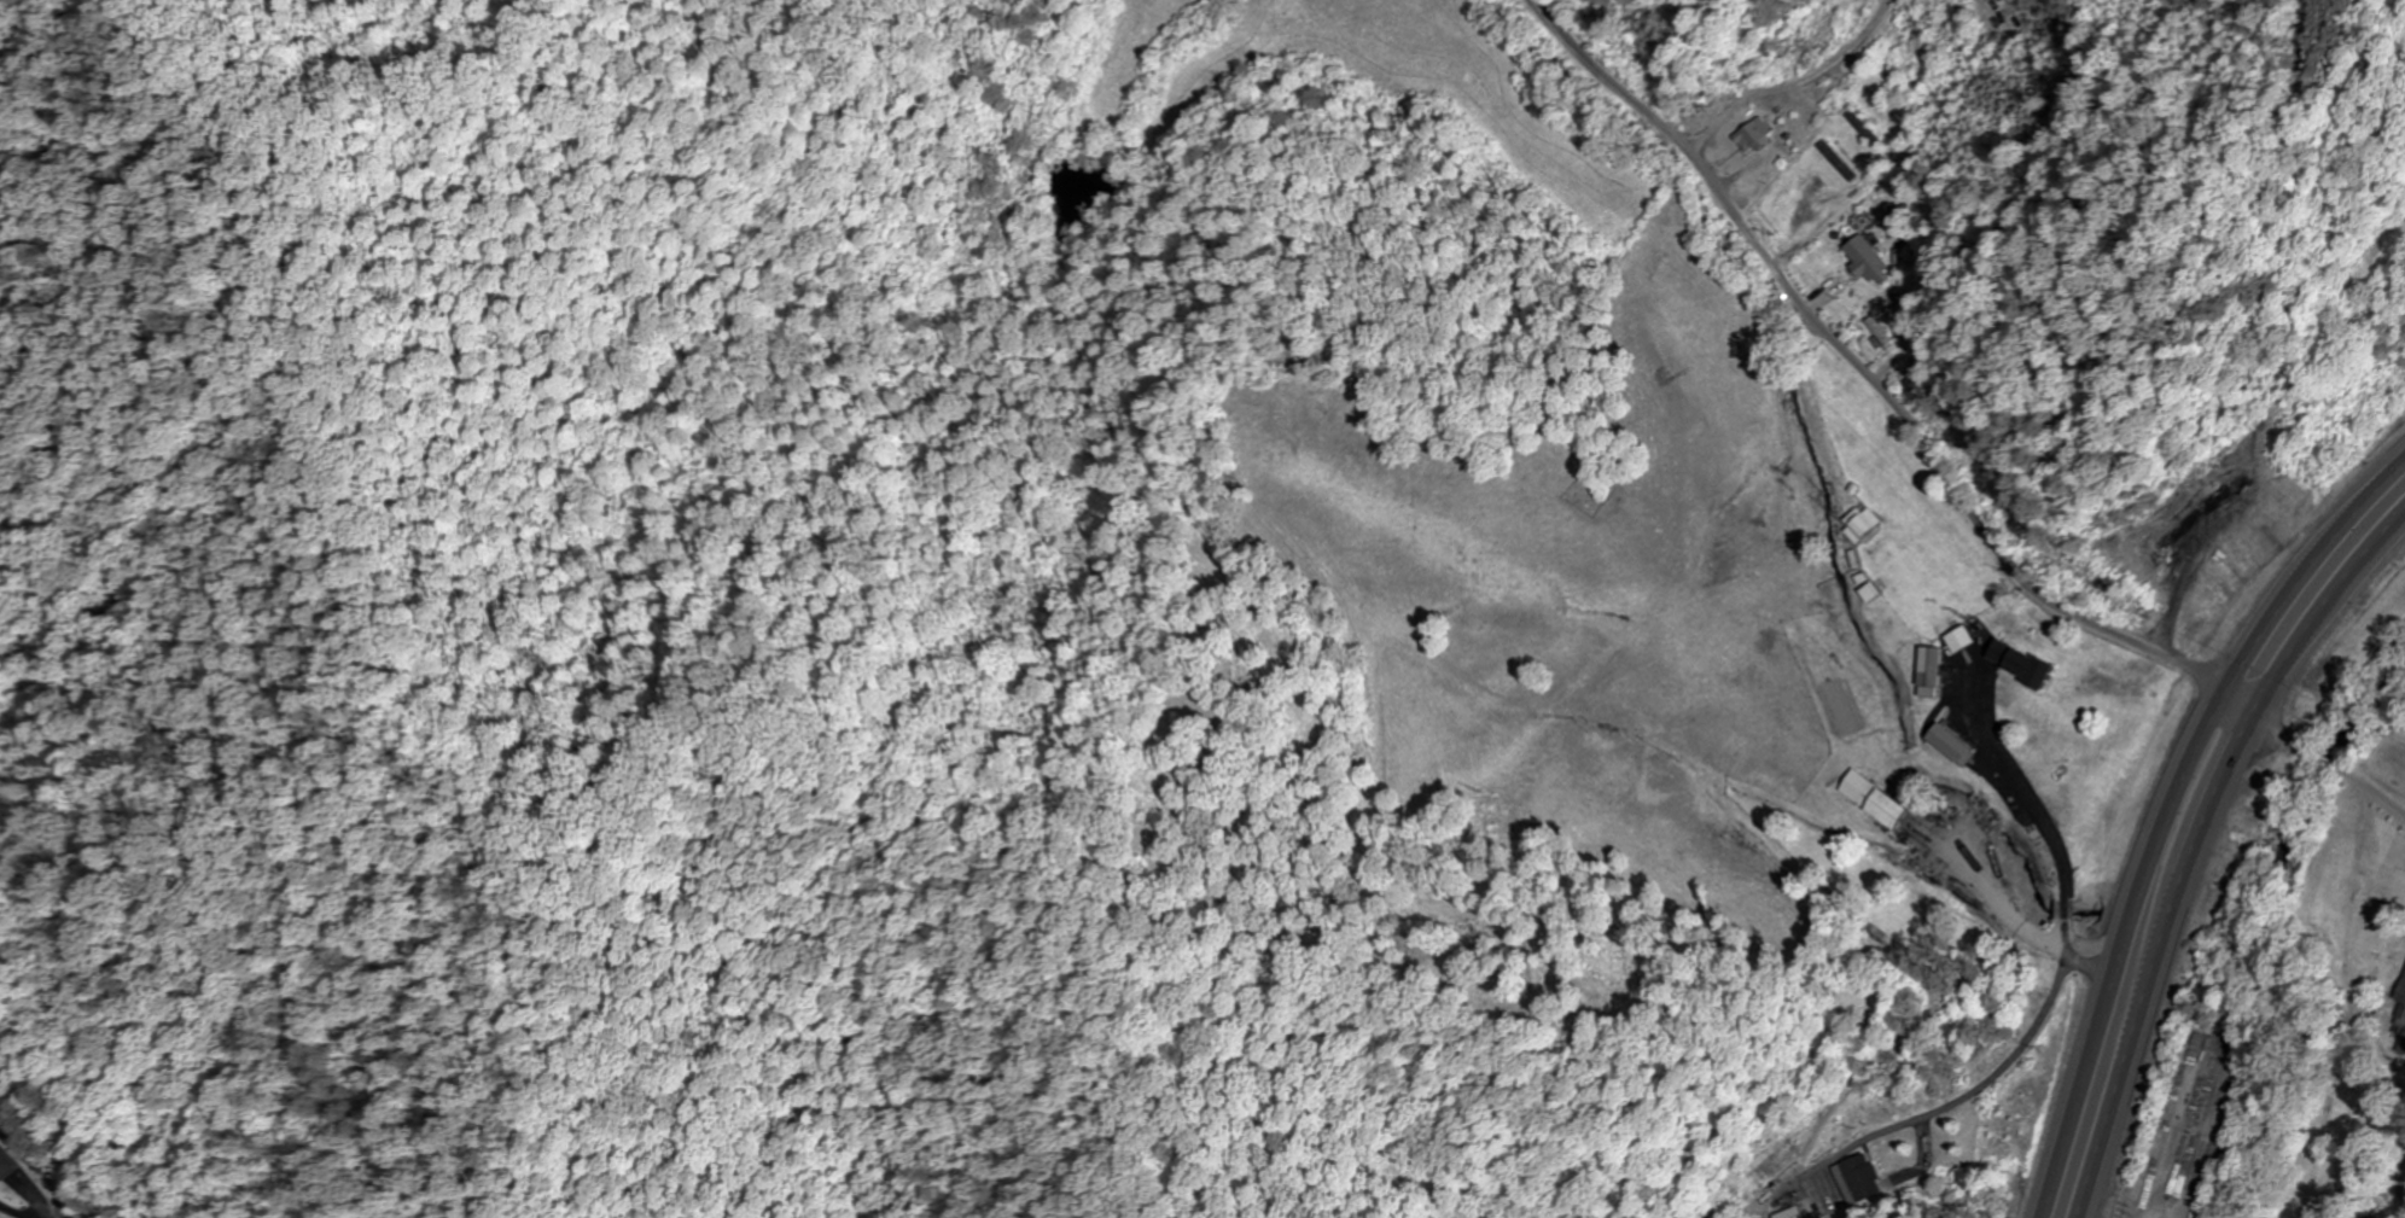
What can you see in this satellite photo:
building: (1856, 126)
building: (1749, 135)
building: (1834, 162)
building: (1863, 258)
building: (1879, 332)
road: (1877, 385)
building: (1860, 524)
building: (2015, 663)
building: (1926, 671)
building: (1946, 746)
building: (1867, 800)
road: (2167, 810)
road: (2200, 847)
building: (2400, 1006)
building: (10, 1162)
building: (1852, 1181)
road: (13, 1210)
building: (1787, 1214)

